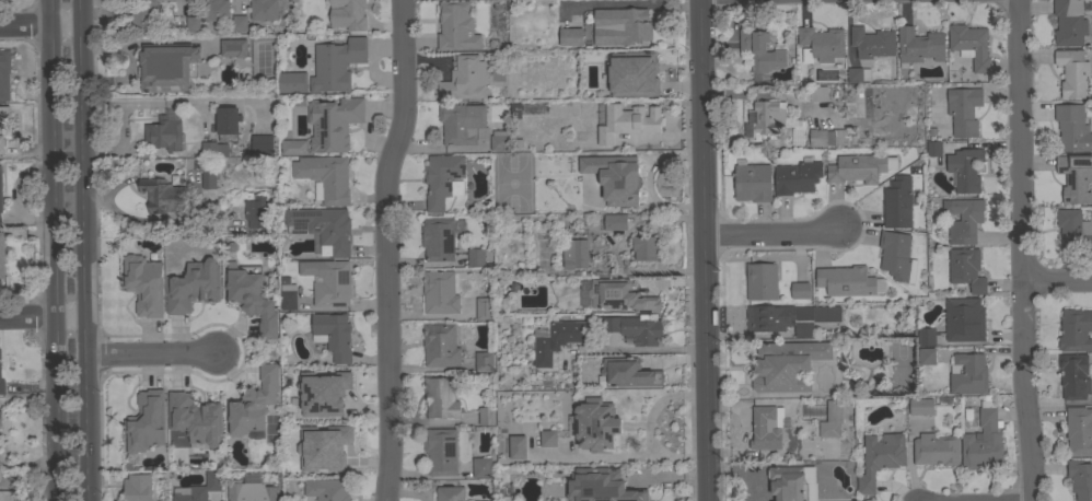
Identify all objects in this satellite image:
building: (216, 10)
building: (264, 10)
building: (348, 14)
building: (142, 16)
building: (1069, 22)
building: (193, 23)
building: (240, 23)
road: (42, 25)
building: (620, 25)
building: (456, 26)
building: (570, 36)
building: (872, 42)
building: (822, 44)
building: (919, 45)
building: (971, 45)
building: (233, 47)
building: (760, 49)
building: (335, 63)
building: (167, 66)
building: (649, 69)
building: (1072, 71)
building: (4, 73)
building: (631, 73)
building: (858, 74)
building: (464, 79)
building: (292, 82)
building: (599, 91)
road: (757, 93)
building: (817, 93)
building: (515, 109)
building: (964, 110)
building: (766, 117)
building: (228, 120)
building: (627, 121)
building: (333, 123)
building: (461, 123)
building: (3, 126)
building: (1072, 128)
building: (163, 133)
road: (659, 133)
building: (822, 138)
building: (498, 140)
building: (262, 143)
building: (293, 147)
building: (213, 149)
building: (933, 149)
building: (204, 164)
building: (553, 166)
building: (859, 167)
building: (966, 170)
building: (325, 177)
building: (615, 177)
building: (795, 177)
building: (1074, 177)
building: (441, 178)
building: (208, 179)
building: (752, 180)
building: (0, 190)
building: (162, 196)
building: (897, 202)
building: (256, 211)
building: (963, 219)
building: (0, 220)
building: (615, 222)
building: (322, 228)
building: (1073, 229)
road: (770, 235)
building: (440, 237)
building: (644, 247)
road: (616, 248)
road: (55, 249)
road: (386, 249)
road: (702, 249)
road: (89, 250)
road: (1020, 250)
building: (576, 253)
building: (1, 255)
building: (896, 256)
building: (476, 257)
building: (966, 268)
building: (762, 280)
building: (846, 280)
building: (328, 281)
road: (1056, 281)
building: (143, 284)
building: (193, 286)
building: (801, 290)
building: (440, 292)
building: (620, 295)
building: (252, 299)
building: (288, 299)
building: (484, 307)
road: (45, 316)
building: (789, 317)
building: (964, 319)
building: (635, 328)
building: (1076, 330)
building: (333, 335)
building: (927, 336)
building: (558, 339)
building: (440, 345)
road: (629, 347)
road: (154, 353)
building: (927, 356)
building: (484, 361)
building: (787, 364)
building: (627, 372)
building: (968, 373)
building: (1074, 376)
building: (1, 382)
building: (323, 393)
building: (441, 396)
building: (253, 403)
building: (920, 406)
building: (486, 416)
building: (1, 418)
building: (195, 418)
building: (832, 420)
building: (146, 421)
building: (595, 424)
road: (649, 427)
building: (766, 429)
building: (1079, 430)
building: (548, 438)
building: (983, 440)
building: (518, 446)
building: (327, 447)
building: (936, 448)
building: (441, 451)
building: (879, 457)
building: (481, 467)
building: (1080, 478)
building: (788, 482)
building: (601, 486)
building: (137, 487)
building: (201, 488)
building: (327, 489)
building: (252, 492)
building: (450, 493)
building: (8, 496)
building: (480, 500)

